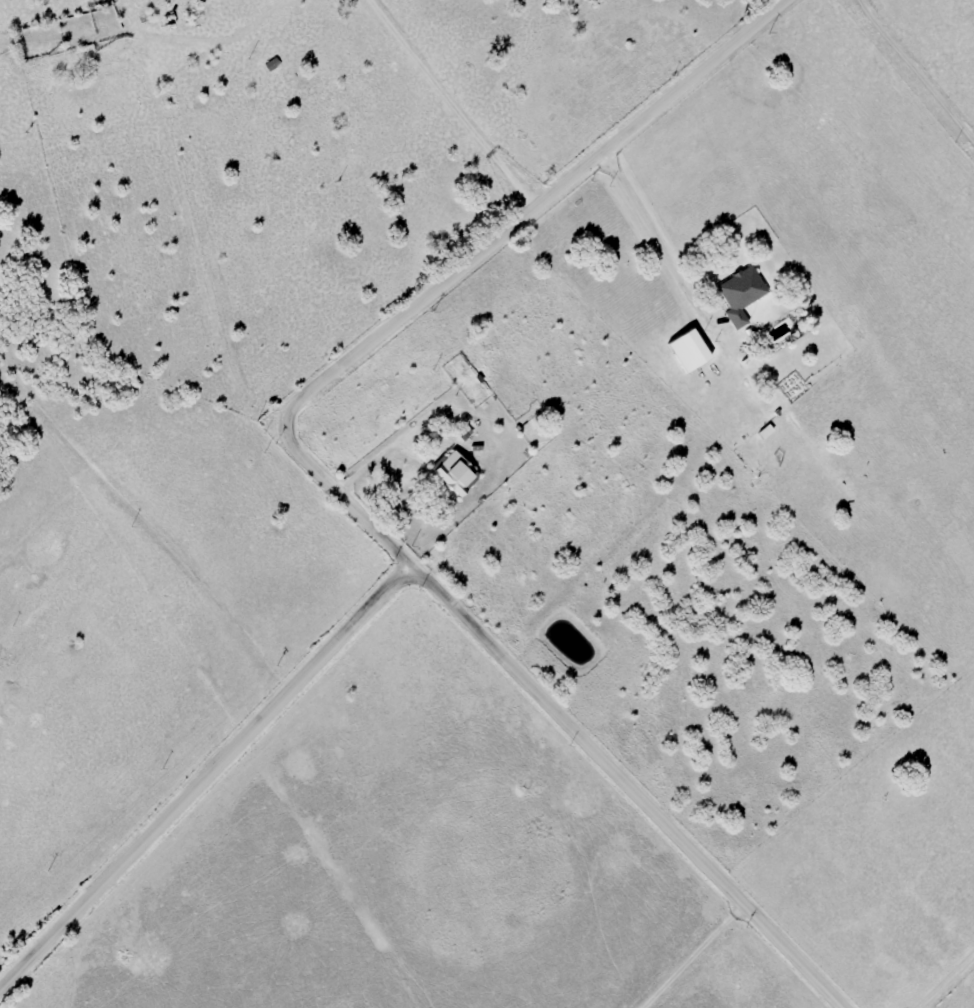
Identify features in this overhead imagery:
road: (533, 209)
building: (740, 294)
building: (686, 350)
building: (453, 473)
road: (375, 519)
road: (428, 577)

